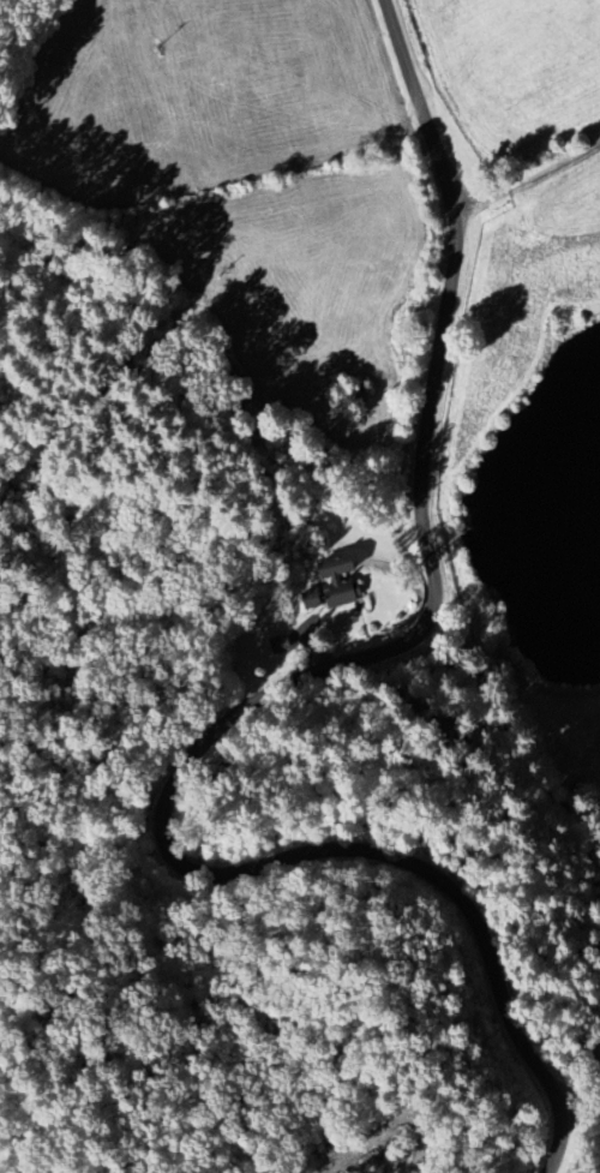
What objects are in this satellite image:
road: (522, 145)
building: (338, 579)
road: (253, 686)

